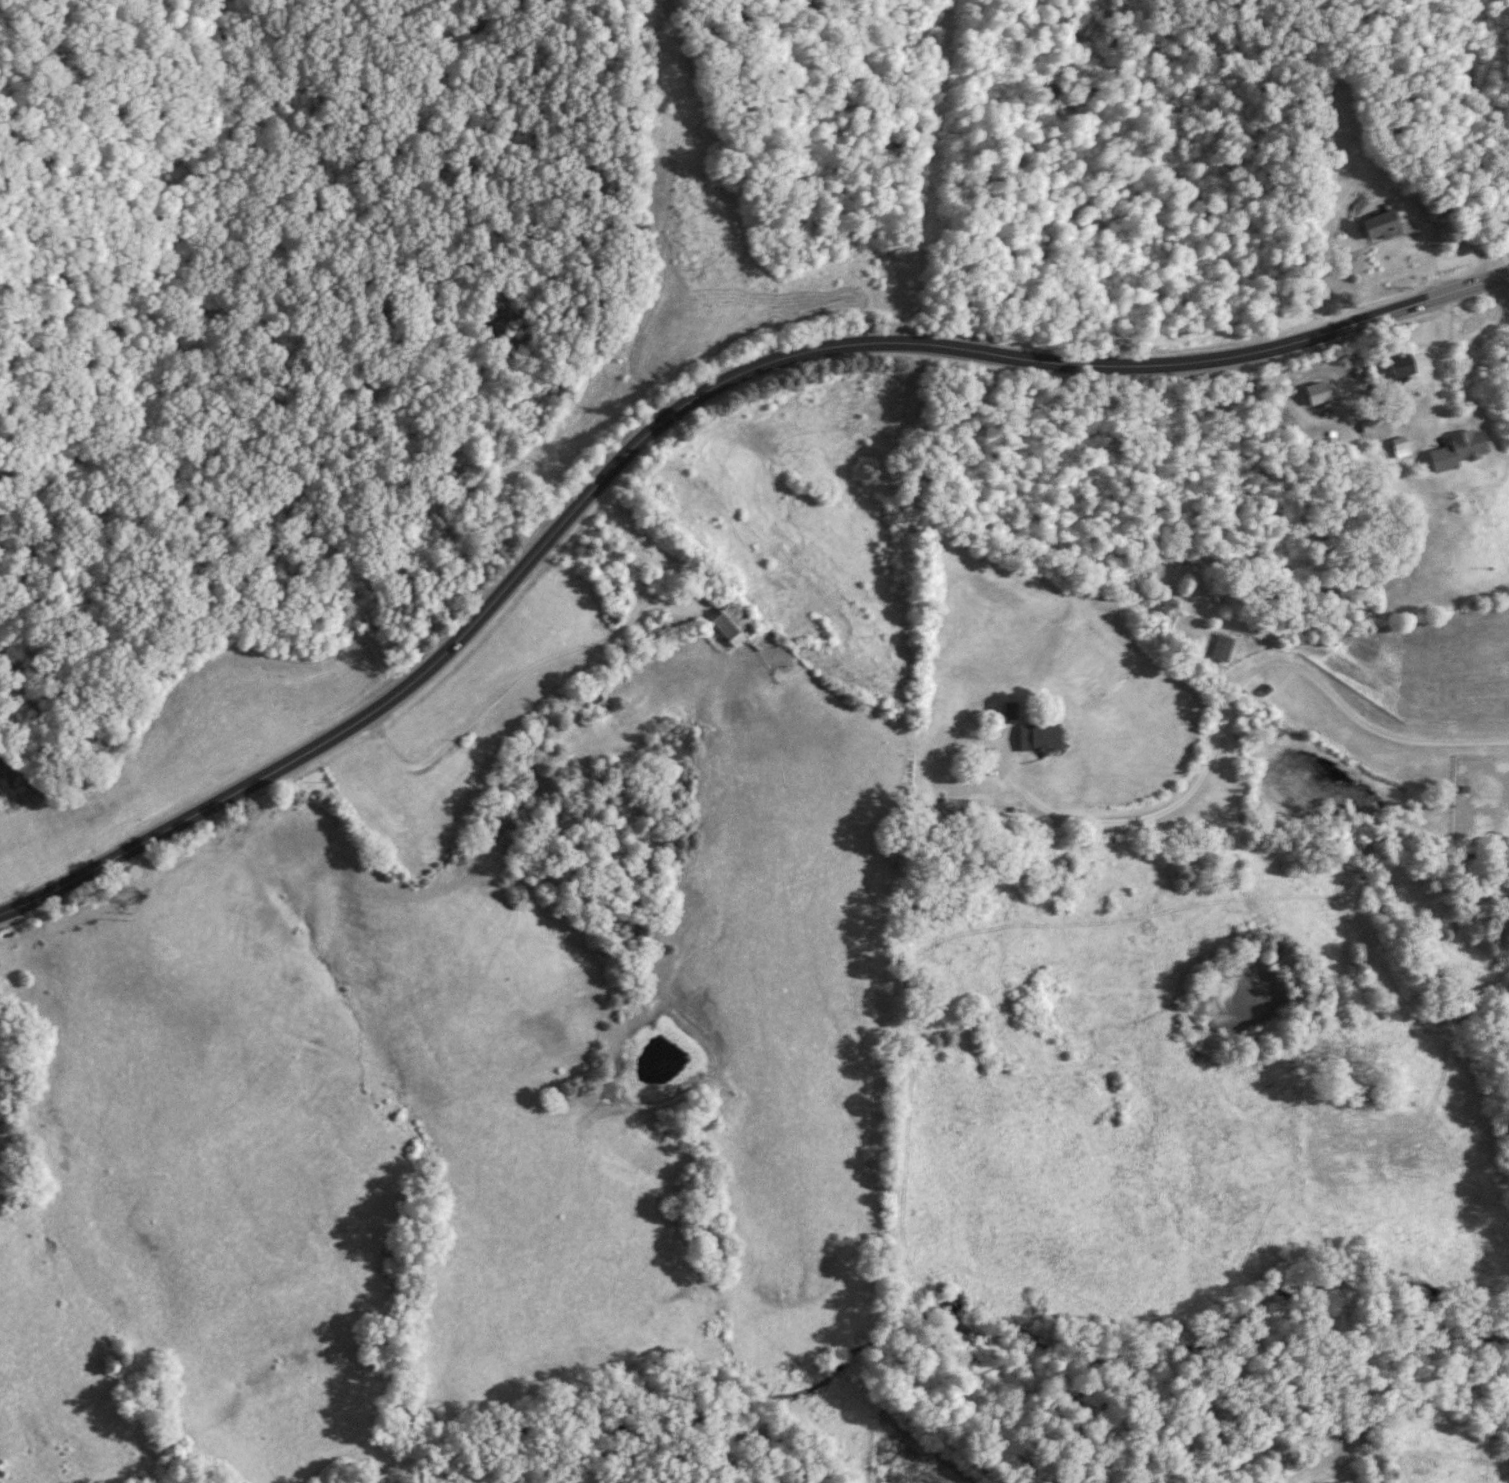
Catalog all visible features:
building: (1383, 221)
road: (1431, 243)
building: (1403, 361)
road: (1438, 390)
building: (1319, 391)
road: (679, 406)
building: (1374, 420)
building: (1402, 443)
building: (1460, 445)
building: (612, 580)
building: (613, 610)
building: (734, 618)
building: (1221, 647)
road: (522, 671)
road: (1228, 702)
building: (1035, 737)
building: (955, 806)
power tower: (128, 909)

